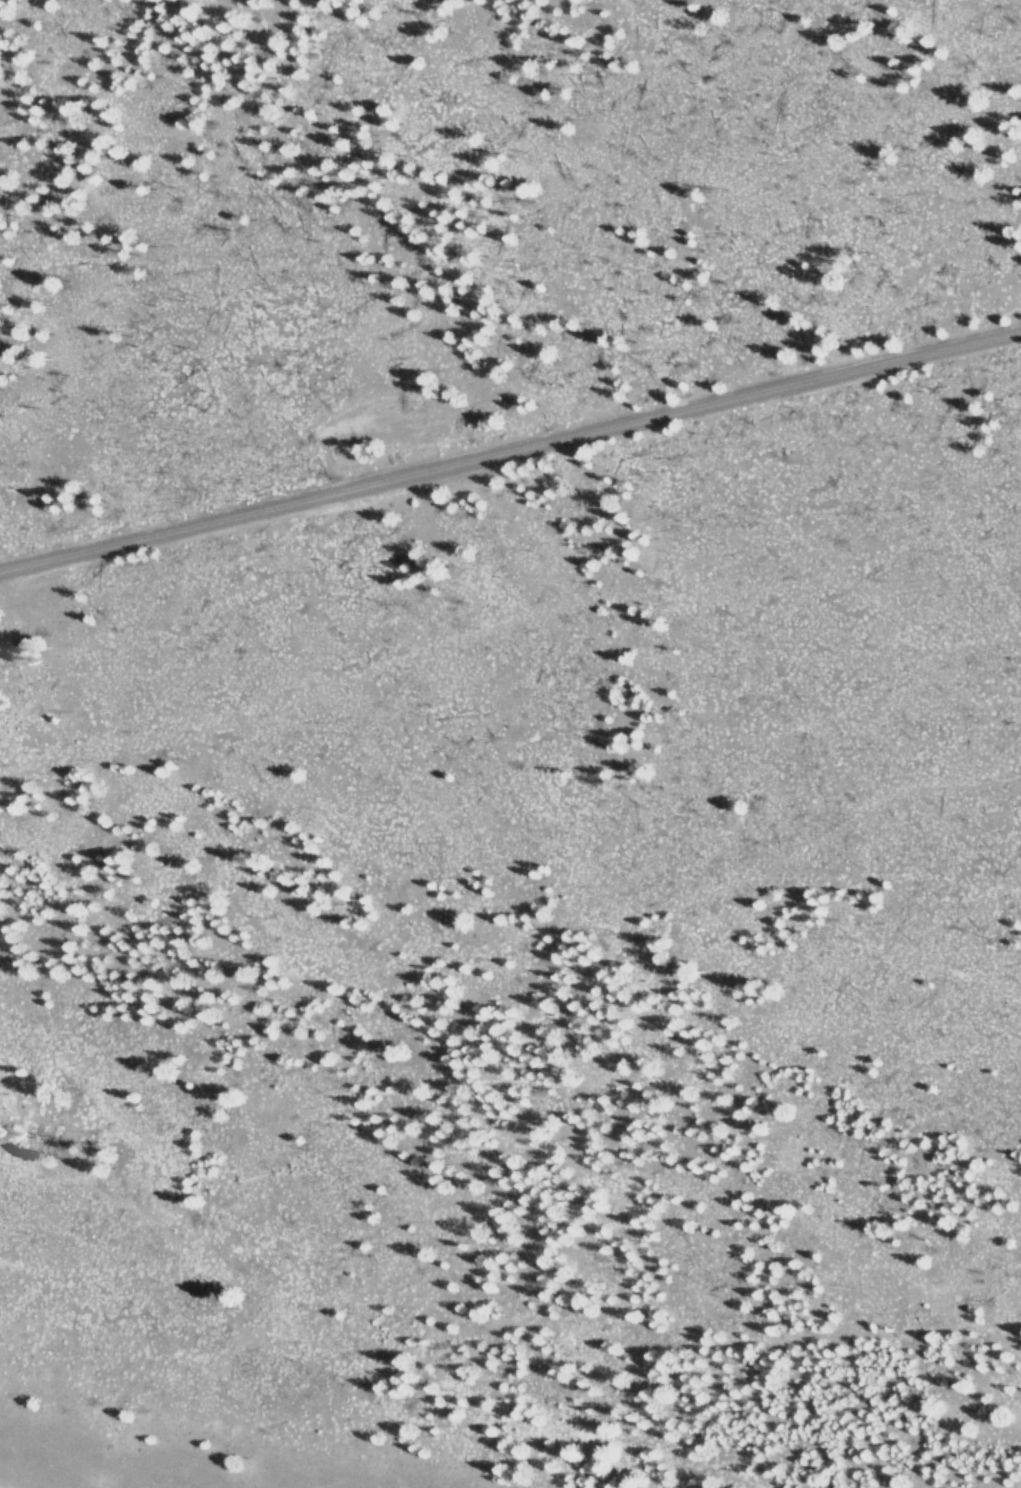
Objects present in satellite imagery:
road: (511, 460)

